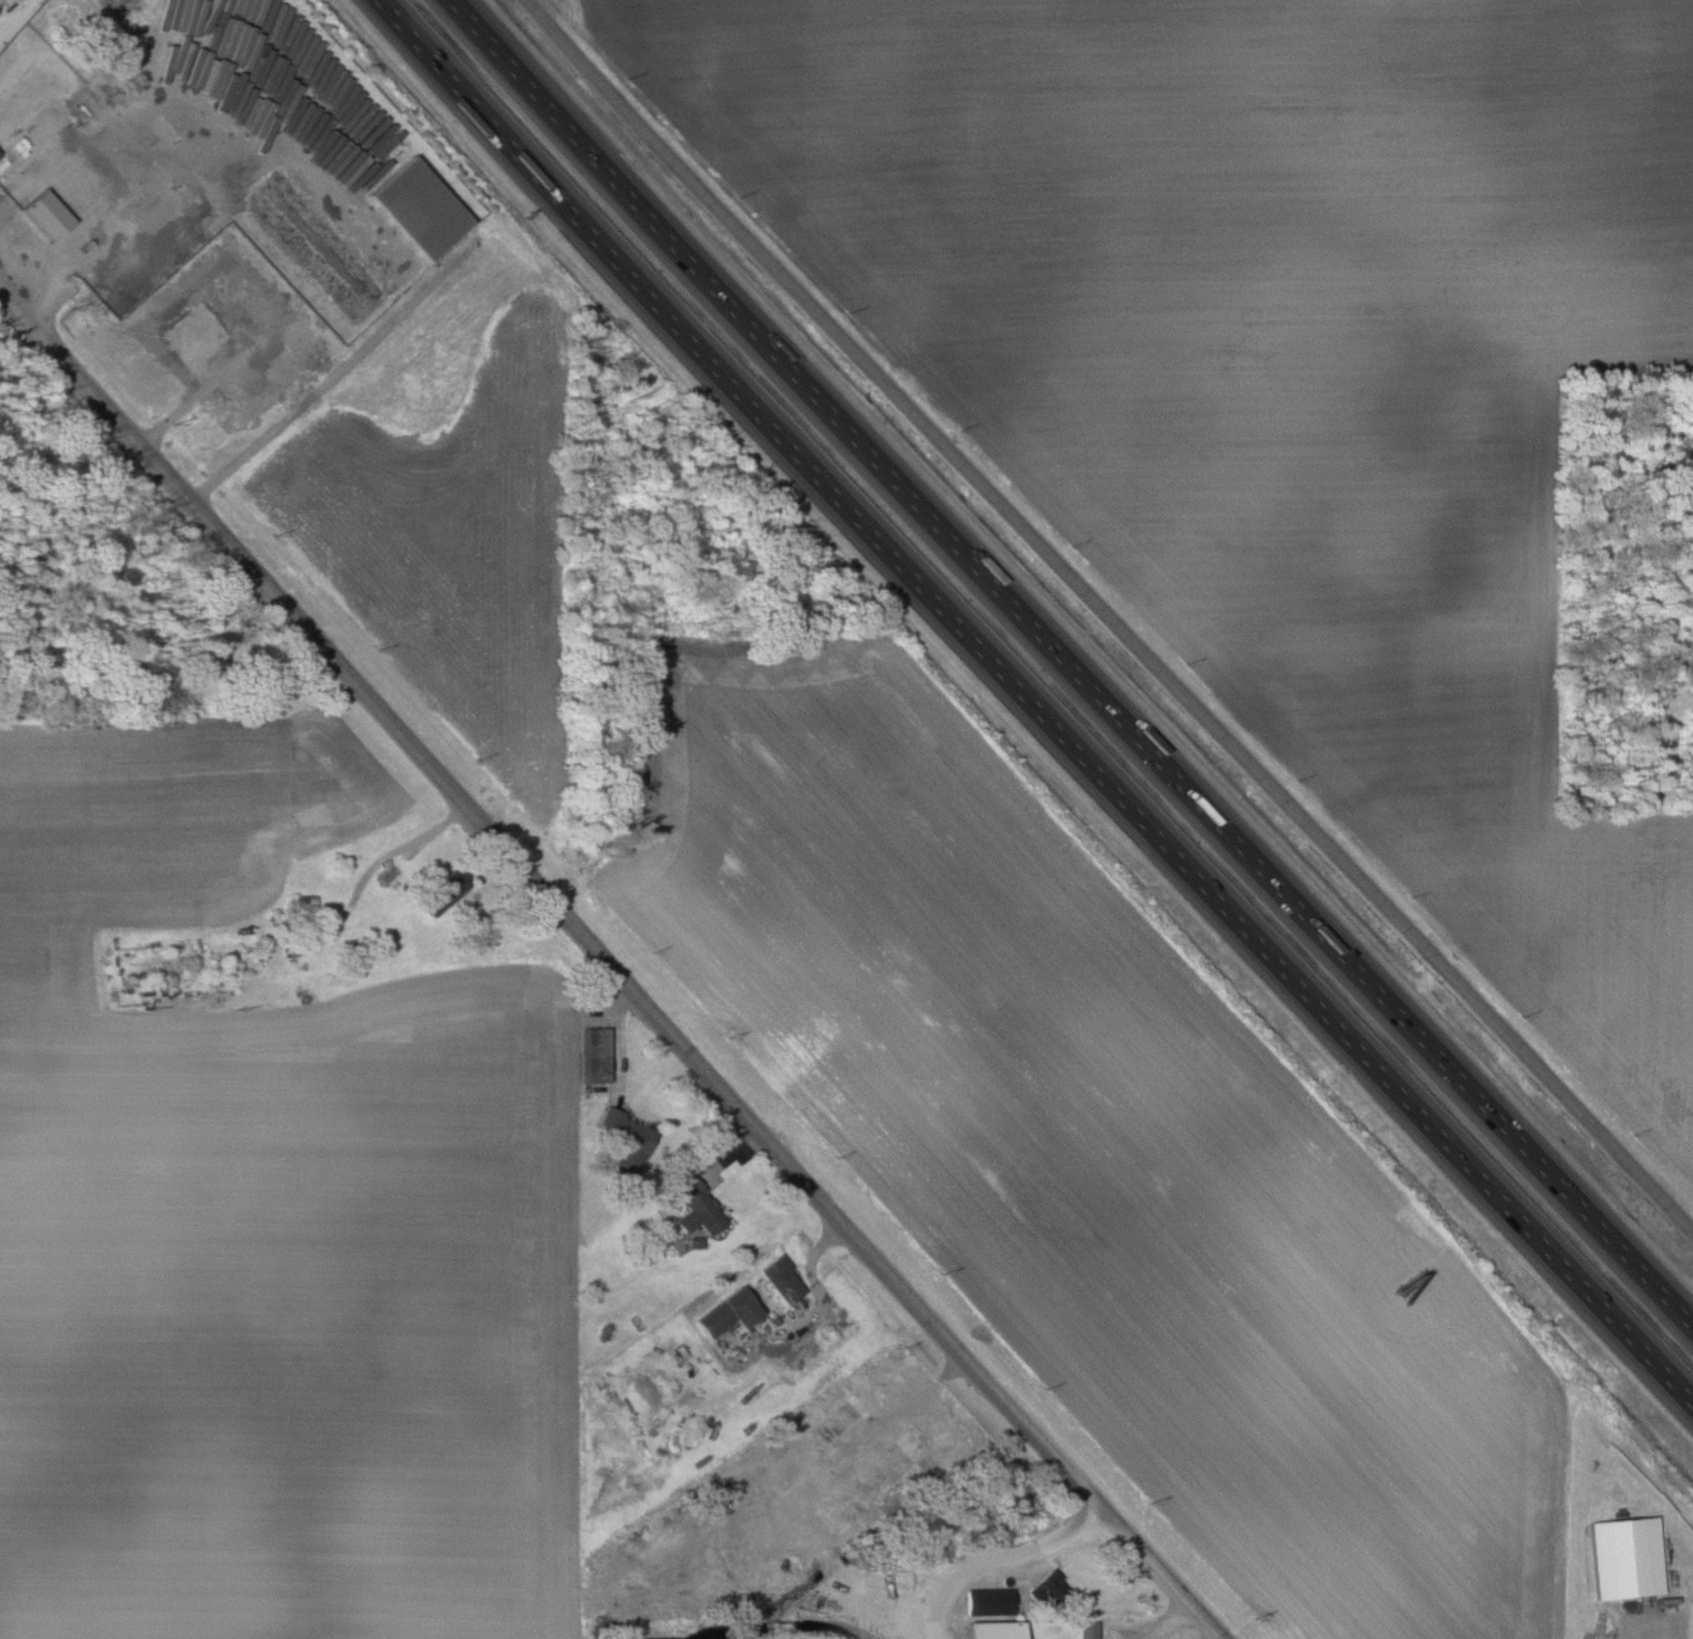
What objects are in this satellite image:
building: (108, 93)
road: (221, 112)
building: (417, 210)
building: (47, 215)
building: (265, 313)
road: (334, 372)
building: (274, 375)
road: (1108, 617)
road: (1070, 664)
road: (1030, 708)
building: (387, 874)
building: (443, 892)
road: (611, 965)
building: (594, 1054)
building: (628, 1140)
building: (697, 1208)
building: (783, 1279)
road: (822, 1301)
building: (728, 1313)
road: (900, 1409)
building: (838, 1419)
building: (887, 1468)
building: (1626, 1558)
road: (1006, 1566)
building: (1046, 1588)
building: (989, 1601)
building: (646, 1615)
road: (1173, 1620)
road: (1635, 1629)
building: (994, 1630)
building: (1087, 1630)

